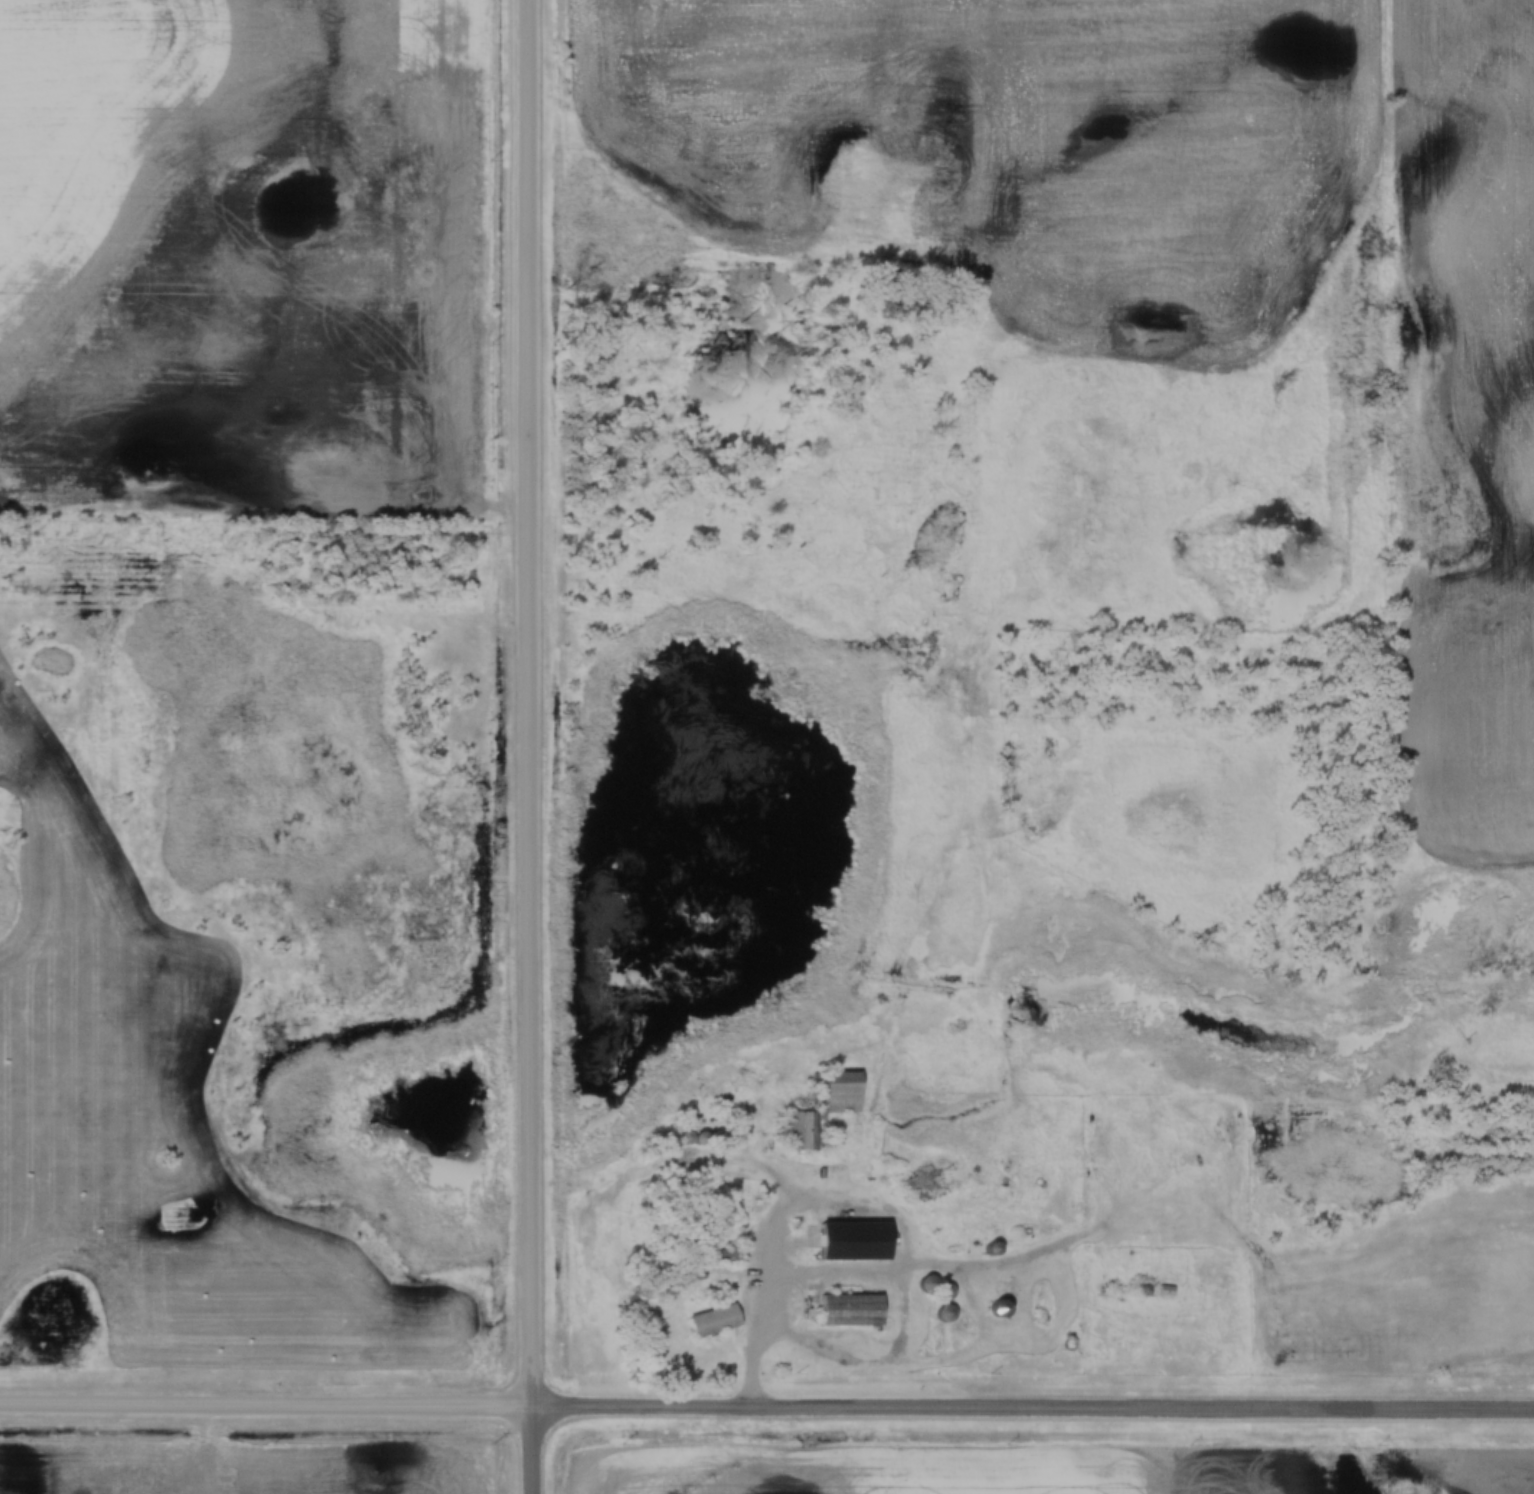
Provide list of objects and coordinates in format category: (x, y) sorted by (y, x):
road: (529, 703)
building: (838, 1093)
building: (693, 1138)
building: (856, 1242)
building: (715, 1258)
building: (936, 1290)
building: (1002, 1310)
building: (850, 1312)
building: (944, 1314)
building: (715, 1322)
road: (265, 1404)
road: (1032, 1408)
road: (530, 1450)

